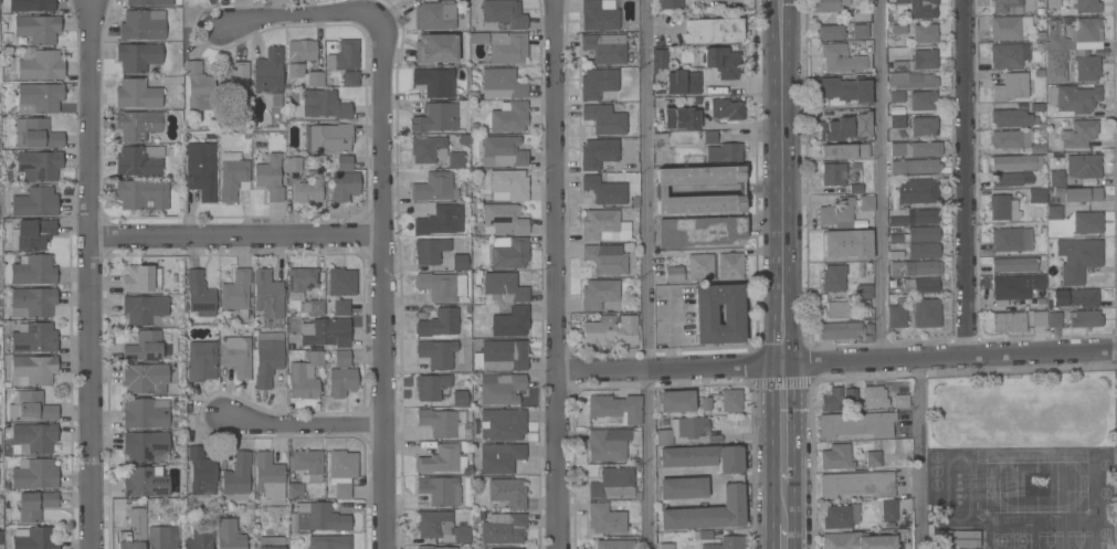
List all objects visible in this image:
building: (1053, 0)
building: (149, 2)
building: (671, 3)
building: (829, 4)
building: (31, 6)
building: (1007, 6)
building: (1086, 6)
building: (920, 8)
road: (297, 13)
building: (435, 14)
building: (502, 14)
building: (599, 14)
building: (143, 24)
building: (1010, 27)
building: (36, 29)
building: (898, 29)
building: (713, 30)
building: (831, 31)
building: (861, 31)
building: (925, 32)
building: (1073, 33)
building: (477, 38)
building: (1039, 45)
building: (507, 46)
building: (435, 47)
building: (604, 47)
building: (1009, 54)
building: (299, 55)
building: (344, 55)
building: (137, 56)
building: (660, 57)
building: (840, 59)
building: (925, 59)
building: (721, 62)
building: (40, 64)
building: (898, 65)
building: (1086, 65)
building: (1057, 66)
building: (268, 72)
building: (315, 77)
building: (350, 78)
building: (433, 81)
building: (911, 81)
building: (682, 82)
building: (502, 83)
building: (598, 83)
building: (234, 84)
building: (199, 86)
building: (1011, 86)
building: (845, 89)
building: (137, 94)
building: (896, 96)
building: (39, 97)
building: (1075, 98)
building: (697, 99)
building: (921, 99)
building: (324, 104)
building: (1037, 106)
building: (726, 108)
building: (508, 116)
building: (435, 117)
building: (1012, 117)
building: (604, 118)
building: (684, 118)
building: (897, 122)
building: (139, 125)
building: (923, 125)
building: (666, 127)
building: (846, 127)
building: (1078, 133)
building: (40, 134)
building: (709, 137)
building: (327, 138)
building: (1014, 140)
building: (428, 148)
building: (897, 148)
building: (924, 148)
building: (503, 150)
building: (845, 150)
building: (724, 151)
building: (598, 152)
building: (455, 159)
building: (138, 160)
building: (1015, 161)
building: (344, 162)
building: (293, 163)
building: (39, 165)
building: (855, 166)
building: (914, 166)
building: (1083, 166)
building: (833, 173)
building: (232, 175)
building: (268, 175)
building: (201, 176)
road: (963, 177)
building: (1056, 178)
road: (878, 179)
building: (1010, 179)
road: (780, 181)
building: (508, 184)
building: (344, 186)
building: (434, 187)
building: (308, 188)
building: (856, 188)
building: (660, 189)
building: (917, 189)
building: (604, 190)
building: (143, 193)
building: (1078, 193)
building: (1036, 194)
building: (34, 201)
building: (866, 202)
building: (1003, 208)
building: (837, 212)
building: (1054, 212)
building: (926, 215)
building: (503, 219)
building: (440, 220)
building: (897, 220)
building: (1087, 222)
building: (603, 225)
building: (698, 231)
building: (32, 233)
road: (234, 233)
building: (916, 234)
building: (1011, 239)
building: (847, 243)
building: (430, 250)
building: (923, 250)
building: (509, 251)
building: (895, 254)
building: (605, 258)
building: (1077, 258)
building: (459, 262)
building: (1013, 263)
building: (730, 265)
building: (699, 266)
building: (915, 267)
building: (33, 270)
building: (673, 273)
road: (87, 274)
road: (555, 274)
road: (645, 274)
building: (137, 277)
building: (833, 277)
building: (301, 281)
road: (381, 281)
building: (921, 284)
building: (441, 285)
building: (1012, 286)
building: (340, 288)
building: (503, 288)
building: (864, 291)
building: (236, 292)
building: (599, 293)
building: (199, 294)
building: (268, 297)
building: (1075, 297)
building: (32, 300)
building: (861, 304)
building: (1048, 304)
building: (316, 307)
building: (146, 309)
building: (835, 309)
building: (925, 312)
building: (704, 314)
building: (897, 314)
building: (1039, 318)
building: (1074, 318)
building: (508, 319)
building: (1009, 320)
building: (439, 323)
building: (611, 329)
building: (841, 330)
building: (326, 331)
building: (33, 337)
building: (145, 346)
building: (436, 352)
building: (235, 355)
building: (504, 355)
building: (267, 357)
building: (341, 357)
building: (201, 359)
road: (836, 360)
building: (33, 369)
building: (305, 376)
building: (146, 378)
building: (341, 381)
building: (432, 387)
building: (500, 388)
building: (850, 393)
building: (874, 397)
building: (460, 398)
building: (731, 399)
building: (676, 400)
building: (832, 400)
building: (900, 401)
building: (705, 403)
building: (30, 405)
building: (615, 408)
road: (783, 410)
building: (145, 412)
building: (665, 421)
building: (442, 422)
building: (503, 423)
road: (301, 424)
building: (856, 424)
building: (683, 430)
building: (33, 437)
building: (608, 444)
building: (146, 445)
road: (919, 453)
building: (499, 456)
building: (836, 456)
building: (440, 458)
building: (873, 458)
building: (308, 464)
road: (783, 469)
building: (200, 471)
building: (341, 471)
building: (34, 473)
building: (268, 476)
building: (236, 477)
building: (146, 481)
building: (612, 483)
building: (857, 483)
building: (683, 487)
building: (440, 489)
building: (295, 490)
building: (508, 492)
building: (731, 495)
building: (35, 504)
road: (782, 504)
building: (888, 510)
building: (841, 515)
building: (322, 517)
building: (605, 518)
building: (0, 520)
building: (889, 525)
building: (441, 526)
building: (134, 529)
building: (504, 529)
building: (702, 534)
building: (230, 535)
building: (0, 537)
building: (162, 537)
building: (200, 537)
road: (782, 537)
building: (34, 538)
building: (957, 538)
building: (329, 541)
building: (856, 541)
building: (271, 542)
building: (727, 542)
building: (614, 543)
building: (665, 546)
building: (436, 547)
building: (505, 548)

